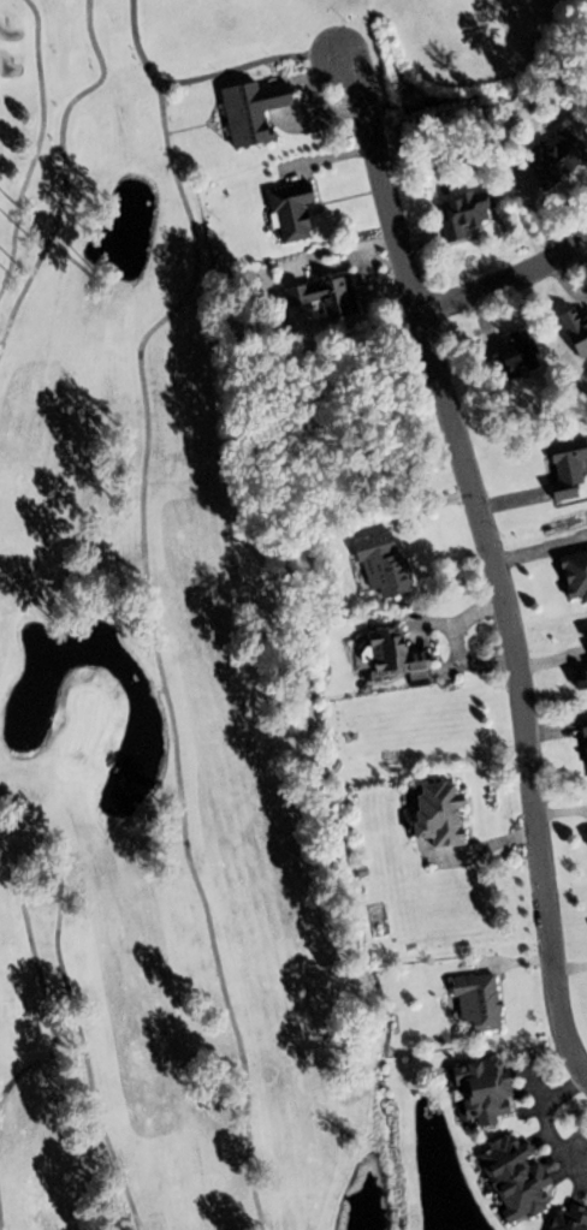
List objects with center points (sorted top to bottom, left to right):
building: (259, 111)
building: (558, 158)
building: (297, 210)
building: (466, 213)
road: (336, 248)
road: (505, 283)
building: (328, 297)
building: (576, 326)
building: (516, 356)
building: (571, 471)
road: (416, 506)
road: (497, 560)
building: (389, 564)
building: (576, 574)
building: (399, 655)
building: (586, 727)
building: (447, 814)
building: (480, 1002)
building: (487, 1089)
road: (547, 1124)
building: (520, 1175)
building: (573, 1219)

